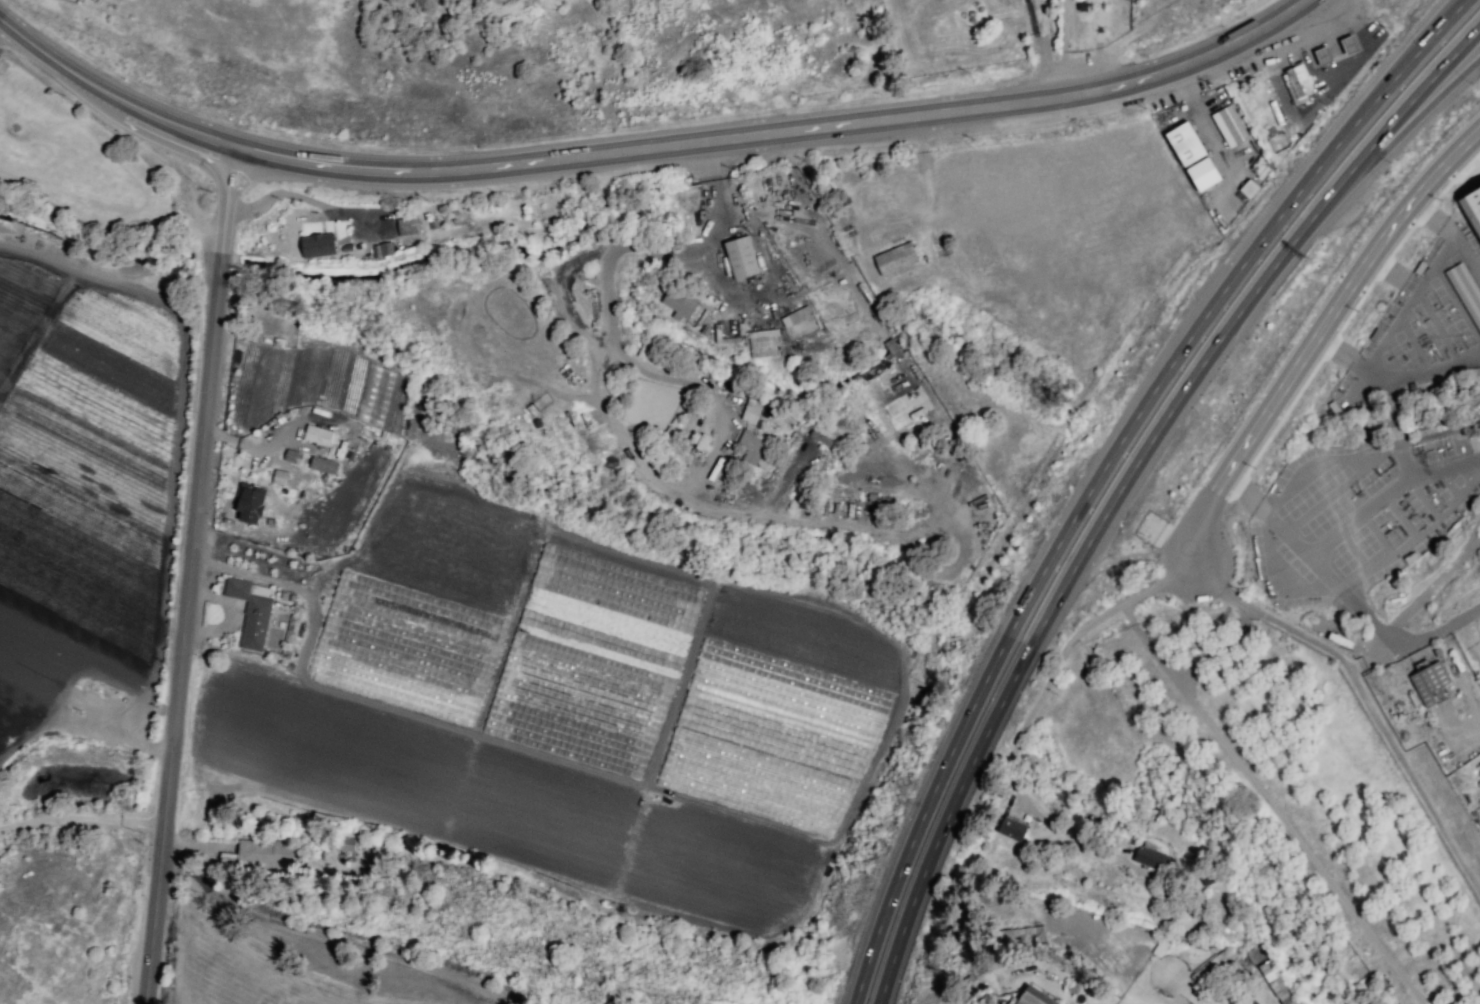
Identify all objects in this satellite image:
building: (1199, 13)
building: (1123, 15)
road: (1033, 33)
building: (1349, 43)
road: (1045, 51)
building: (981, 57)
road: (1464, 58)
building: (1299, 84)
gas station: (1299, 84)
building: (1228, 125)
building: (1184, 146)
road: (649, 152)
building: (1247, 188)
building: (1474, 202)
building: (692, 219)
building: (408, 224)
building: (793, 232)
building: (316, 245)
building: (387, 249)
building: (741, 255)
building: (895, 258)
building: (1466, 292)
building: (682, 303)
building: (843, 308)
building: (795, 316)
road: (1314, 335)
building: (762, 343)
building: (778, 348)
building: (1473, 375)
building: (888, 389)
building: (909, 409)
building: (750, 410)
building: (317, 435)
building: (757, 448)
building: (290, 457)
building: (323, 466)
road: (1108, 466)
building: (279, 477)
road: (1125, 486)
crop: (85, 490)
building: (253, 506)
road: (1127, 553)
road: (191, 575)
building: (234, 588)
building: (254, 626)
crop: (587, 646)
building: (1429, 681)
road: (1361, 692)
building: (1055, 716)
wastewater plant: (83, 784)
road: (82, 819)
building: (1014, 829)
building: (345, 843)
road: (188, 844)
building: (264, 852)
building: (1146, 858)
building: (329, 866)
building: (1227, 894)
building: (1021, 935)
road: (333, 937)
building: (1274, 983)
building: (1028, 999)

